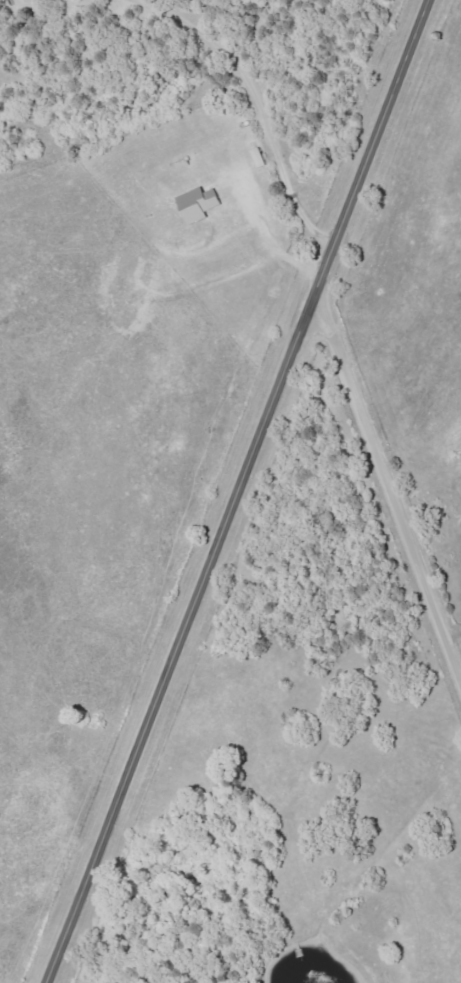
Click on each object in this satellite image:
road: (250, 101)
building: (201, 205)
road: (267, 237)
road: (388, 484)
road: (238, 492)

